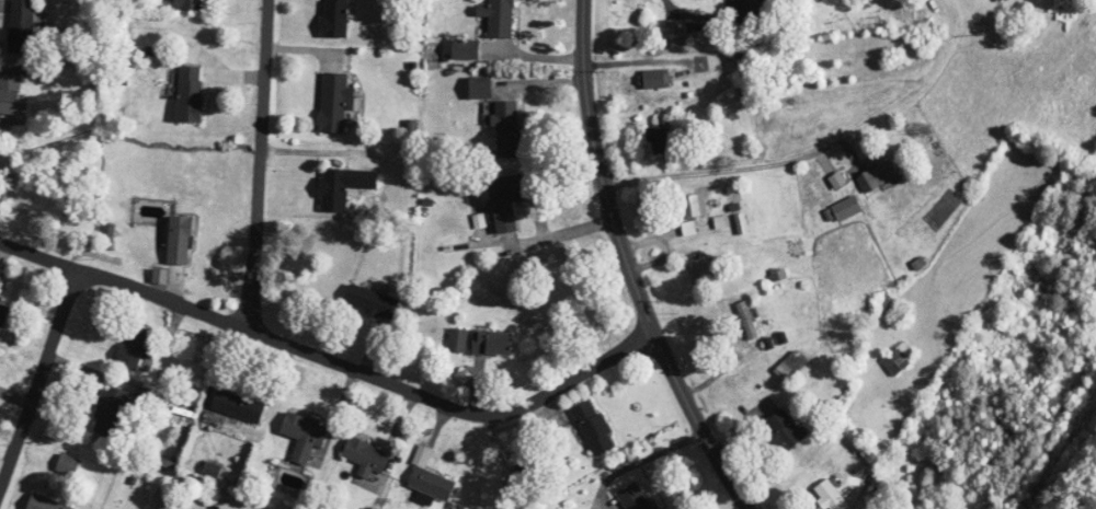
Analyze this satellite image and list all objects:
building: (998, 0)
building: (193, 4)
building: (754, 11)
road: (696, 14)
building: (499, 18)
building: (336, 19)
building: (23, 26)
road: (637, 61)
building: (657, 79)
building: (481, 88)
building: (10, 91)
building: (191, 93)
building: (335, 102)
building: (507, 129)
building: (661, 135)
road: (819, 153)
road: (260, 164)
building: (878, 176)
building: (342, 186)
building: (506, 201)
building: (692, 206)
building: (847, 208)
road: (549, 238)
building: (180, 240)
road: (629, 265)
building: (706, 270)
building: (0, 280)
building: (370, 301)
building: (883, 303)
building: (3, 313)
building: (747, 320)
building: (493, 343)
building: (135, 347)
road: (331, 358)
building: (899, 358)
building: (790, 366)
road: (39, 373)
building: (239, 405)
building: (109, 410)
building: (594, 428)
building: (785, 429)
building: (305, 435)
building: (366, 456)
building: (67, 466)
building: (432, 484)
building: (831, 496)
building: (45, 504)

